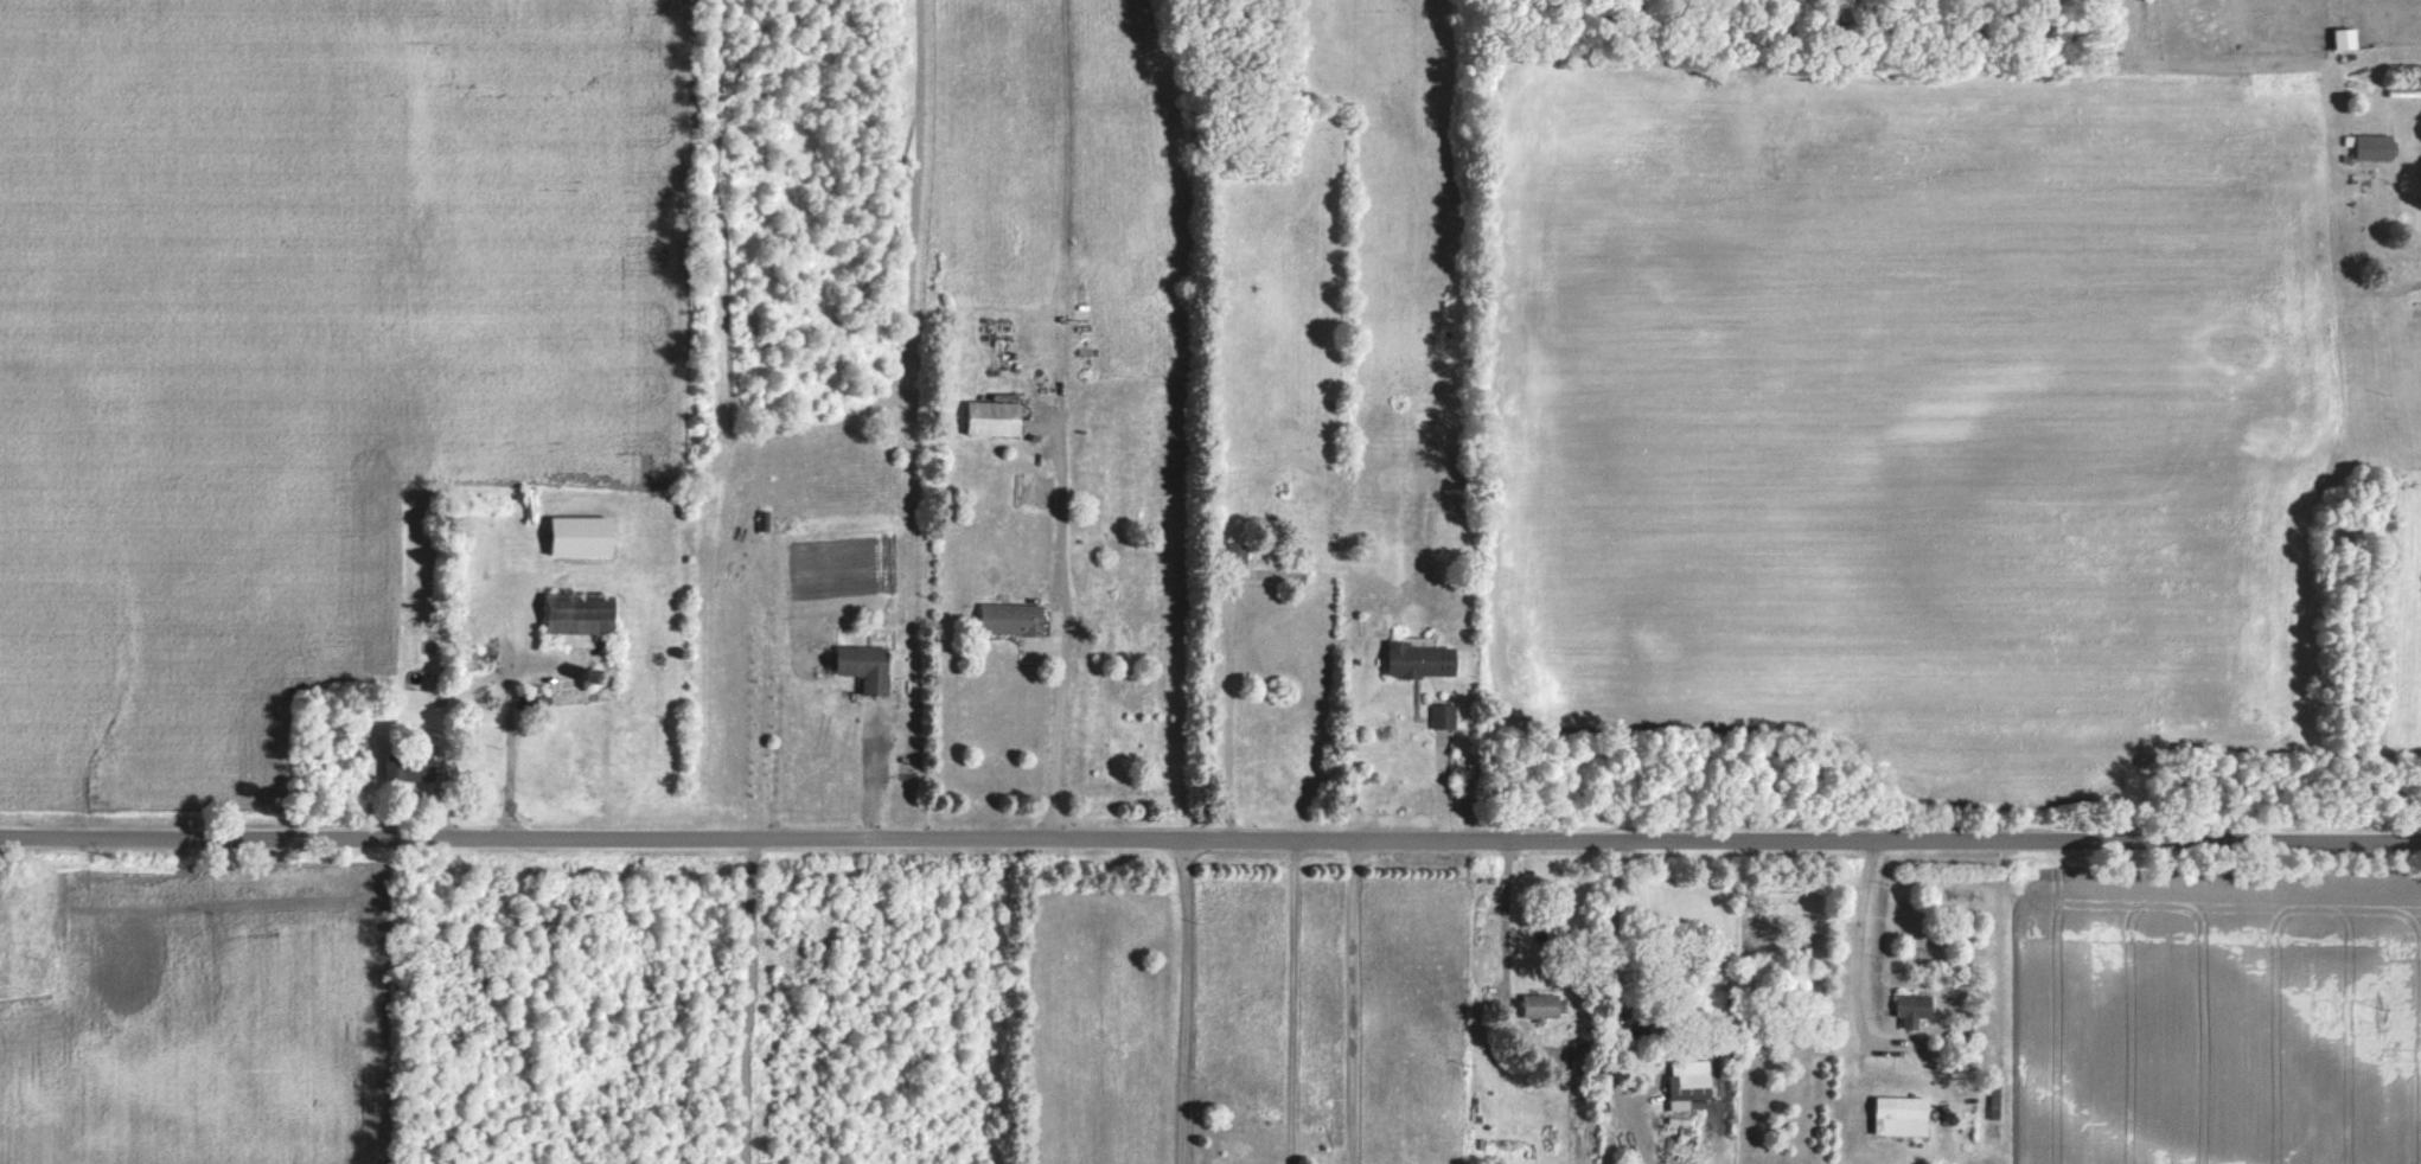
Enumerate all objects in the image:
building: (2370, 147)
building: (2420, 170)
building: (994, 417)
building: (762, 517)
building: (1267, 573)
building: (580, 612)
building: (1007, 619)
building: (1416, 660)
building: (865, 665)
road: (511, 677)
building: (537, 698)
building: (1439, 715)
road: (1220, 717)
road: (1060, 724)
building: (510, 746)
building: (408, 765)
road: (1209, 836)
road: (1496, 960)
road: (1615, 971)
road: (740, 999)
road: (1186, 999)
road: (1292, 999)
road: (1353, 999)
building: (1535, 1005)
building: (1908, 1008)
building: (1579, 1055)
building: (1684, 1081)
building: (1991, 1100)
building: (1896, 1114)

